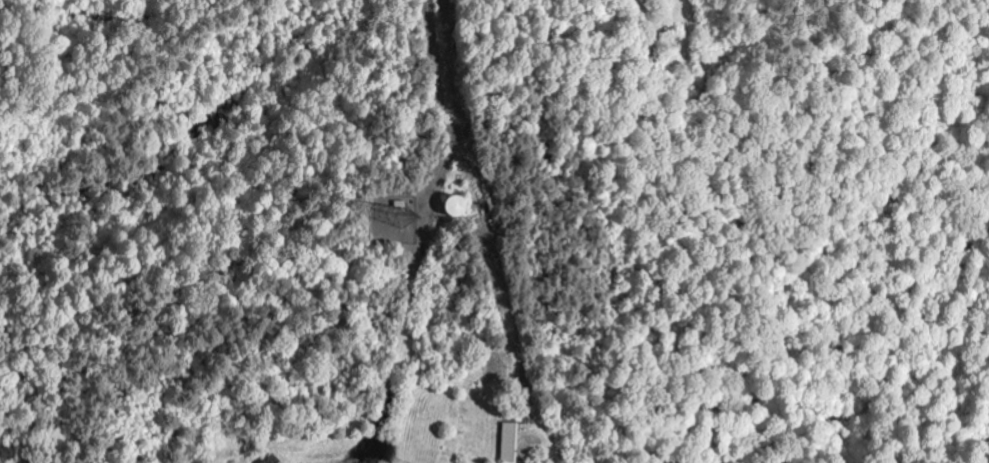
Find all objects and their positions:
building: (457, 208)
building: (510, 442)
building: (273, 459)

